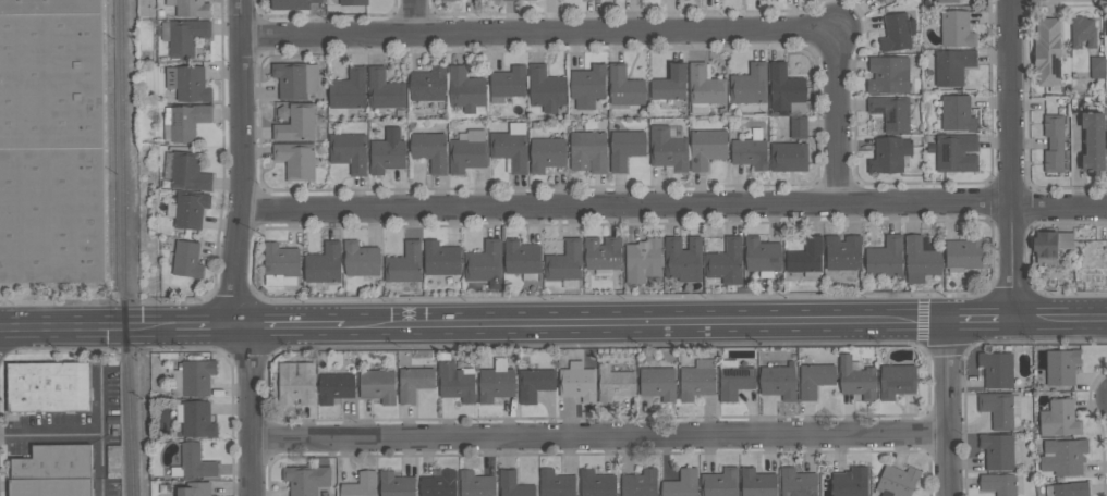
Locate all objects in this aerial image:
building: (447, 0)
building: (527, 0)
building: (589, 0)
building: (603, 0)
building: (879, 1)
building: (946, 1)
building: (352, 2)
building: (292, 4)
building: (193, 9)
road: (412, 18)
building: (1106, 26)
building: (956, 29)
building: (1082, 32)
building: (897, 33)
road: (536, 36)
building: (185, 37)
building: (1047, 54)
building: (1096, 64)
building: (952, 67)
building: (889, 75)
building: (290, 80)
building: (508, 83)
building: (188, 84)
building: (670, 84)
building: (428, 85)
building: (750, 85)
building: (587, 86)
building: (705, 86)
building: (624, 87)
building: (546, 89)
building: (786, 89)
building: (348, 90)
building: (385, 90)
building: (465, 90)
building: (700, 109)
building: (891, 112)
building: (957, 113)
building: (185, 121)
road: (834, 121)
building: (295, 123)
railway: (112, 139)
building: (1093, 141)
building: (1054, 144)
building: (51, 146)
building: (625, 148)
building: (706, 148)
building: (667, 149)
building: (791, 149)
building: (429, 150)
building: (510, 150)
building: (349, 152)
building: (387, 152)
building: (588, 152)
building: (750, 153)
building: (956, 153)
building: (547, 154)
building: (889, 154)
building: (467, 157)
road: (1009, 159)
building: (295, 160)
building: (188, 172)
building: (190, 210)
road: (672, 210)
building: (1050, 245)
railway: (125, 248)
road: (236, 249)
building: (963, 252)
building: (603, 253)
building: (842, 253)
building: (762, 255)
building: (805, 257)
building: (521, 258)
building: (885, 258)
building: (441, 259)
building: (683, 259)
building: (186, 260)
building: (360, 260)
building: (643, 260)
building: (920, 260)
building: (564, 262)
building: (726, 262)
building: (279, 263)
building: (324, 263)
building: (404, 263)
building: (485, 264)
road: (640, 311)
road: (1058, 318)
road: (977, 320)
road: (204, 327)
road: (285, 327)
road: (85, 328)
road: (641, 332)
building: (1060, 368)
building: (997, 370)
building: (197, 377)
building: (733, 380)
building: (778, 380)
building: (815, 380)
building: (857, 380)
building: (897, 381)
building: (496, 382)
building: (296, 383)
building: (413, 383)
building: (457, 383)
building: (577, 383)
building: (658, 383)
building: (696, 383)
building: (534, 384)
building: (615, 384)
building: (378, 385)
building: (48, 387)
building: (334, 387)
road: (946, 408)
building: (997, 410)
building: (1058, 419)
building: (197, 420)
road: (100, 430)
road: (50, 432)
road: (598, 438)
building: (997, 451)
building: (1063, 457)
building: (195, 461)
building: (53, 462)
building: (306, 480)
building: (897, 481)
building: (851, 482)
building: (720, 483)
building: (757, 483)
building: (798, 483)
building: (439, 484)
building: (476, 484)
building: (556, 484)
building: (596, 484)
building: (640, 484)
building: (681, 484)
building: (998, 484)
building: (360, 485)
building: (396, 485)
building: (513, 485)
building: (50, 487)
building: (195, 489)
building: (1071, 489)

